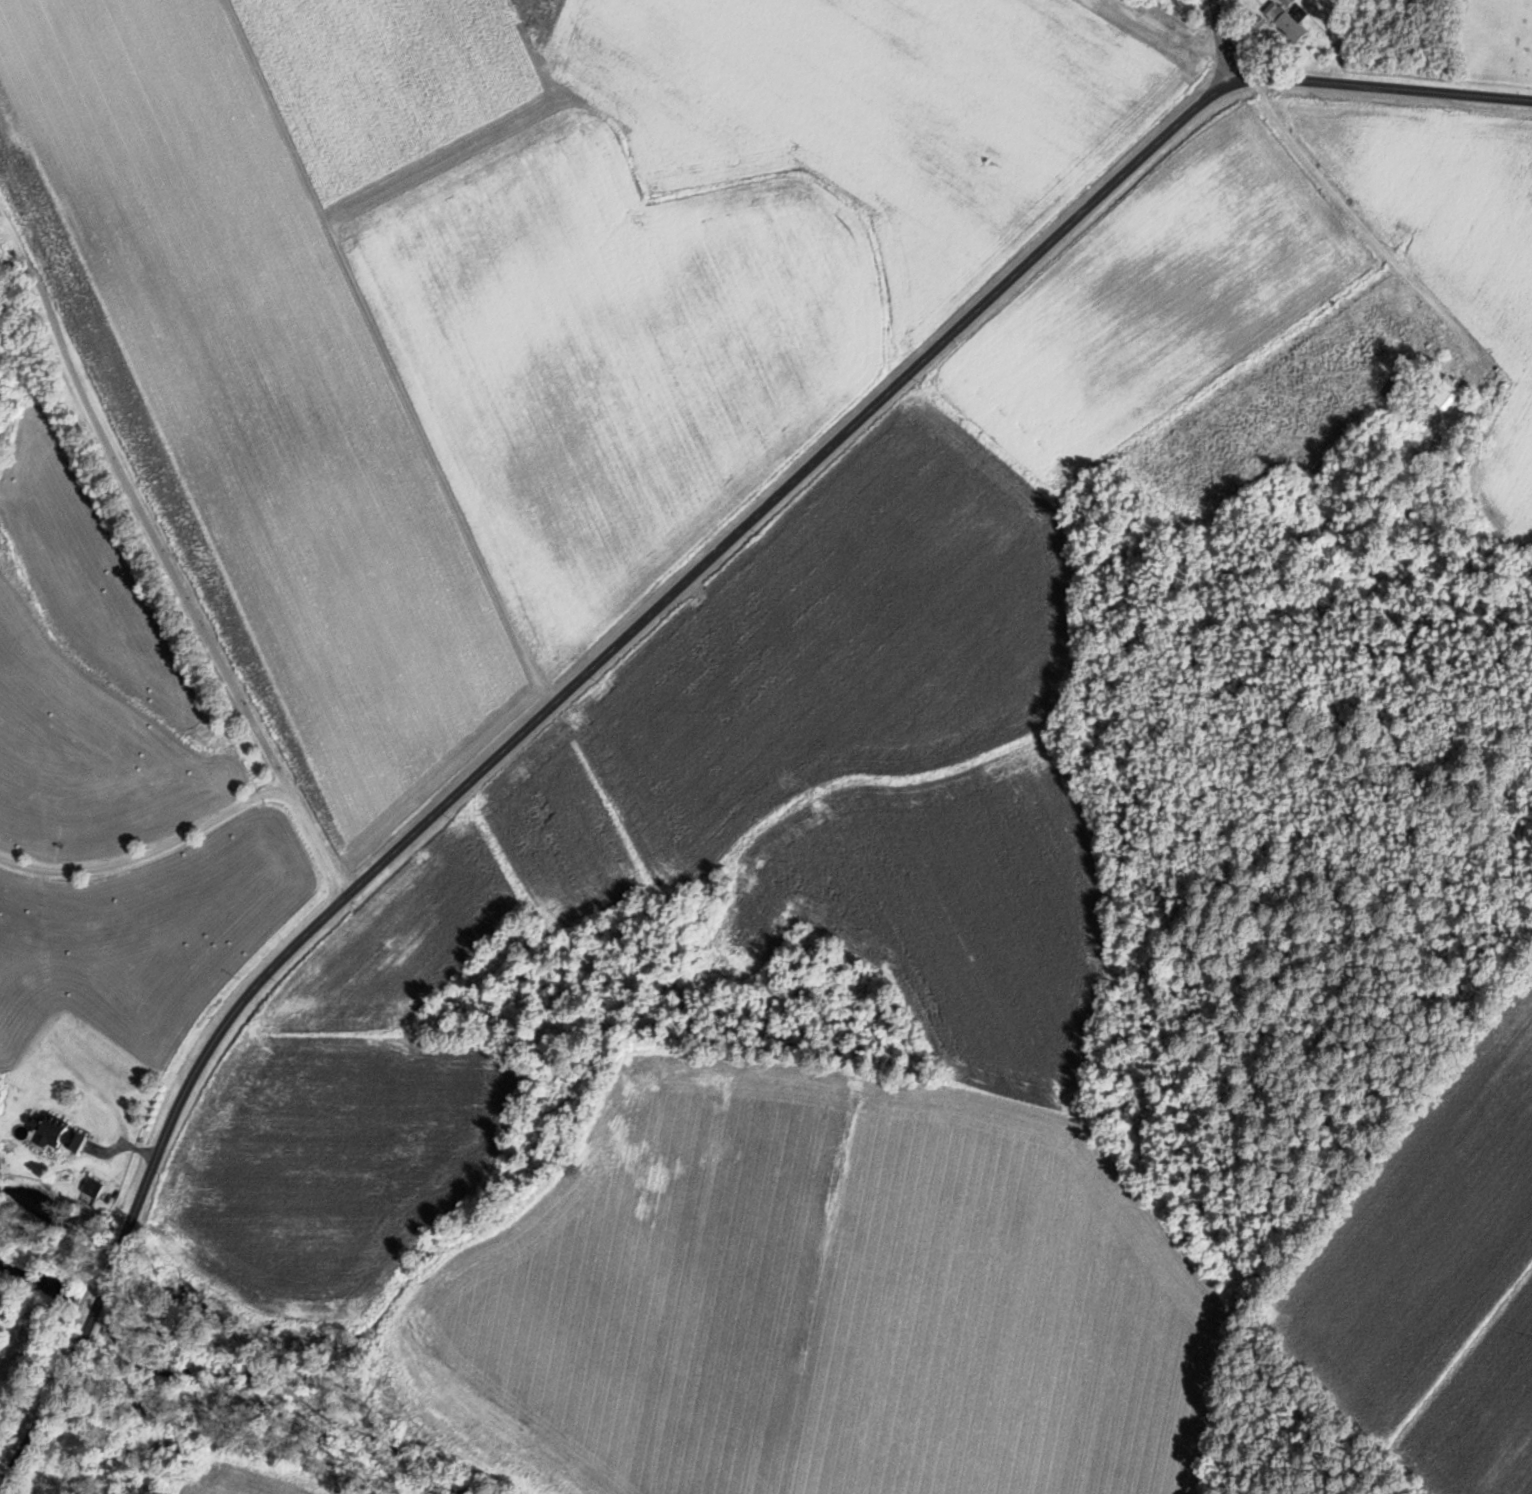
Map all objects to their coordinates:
building: (1288, 20)
road: (1224, 36)
road: (1325, 240)
building: (1448, 394)
road: (138, 466)
road: (645, 619)
road: (124, 839)
road: (273, 861)
building: (58, 1133)

